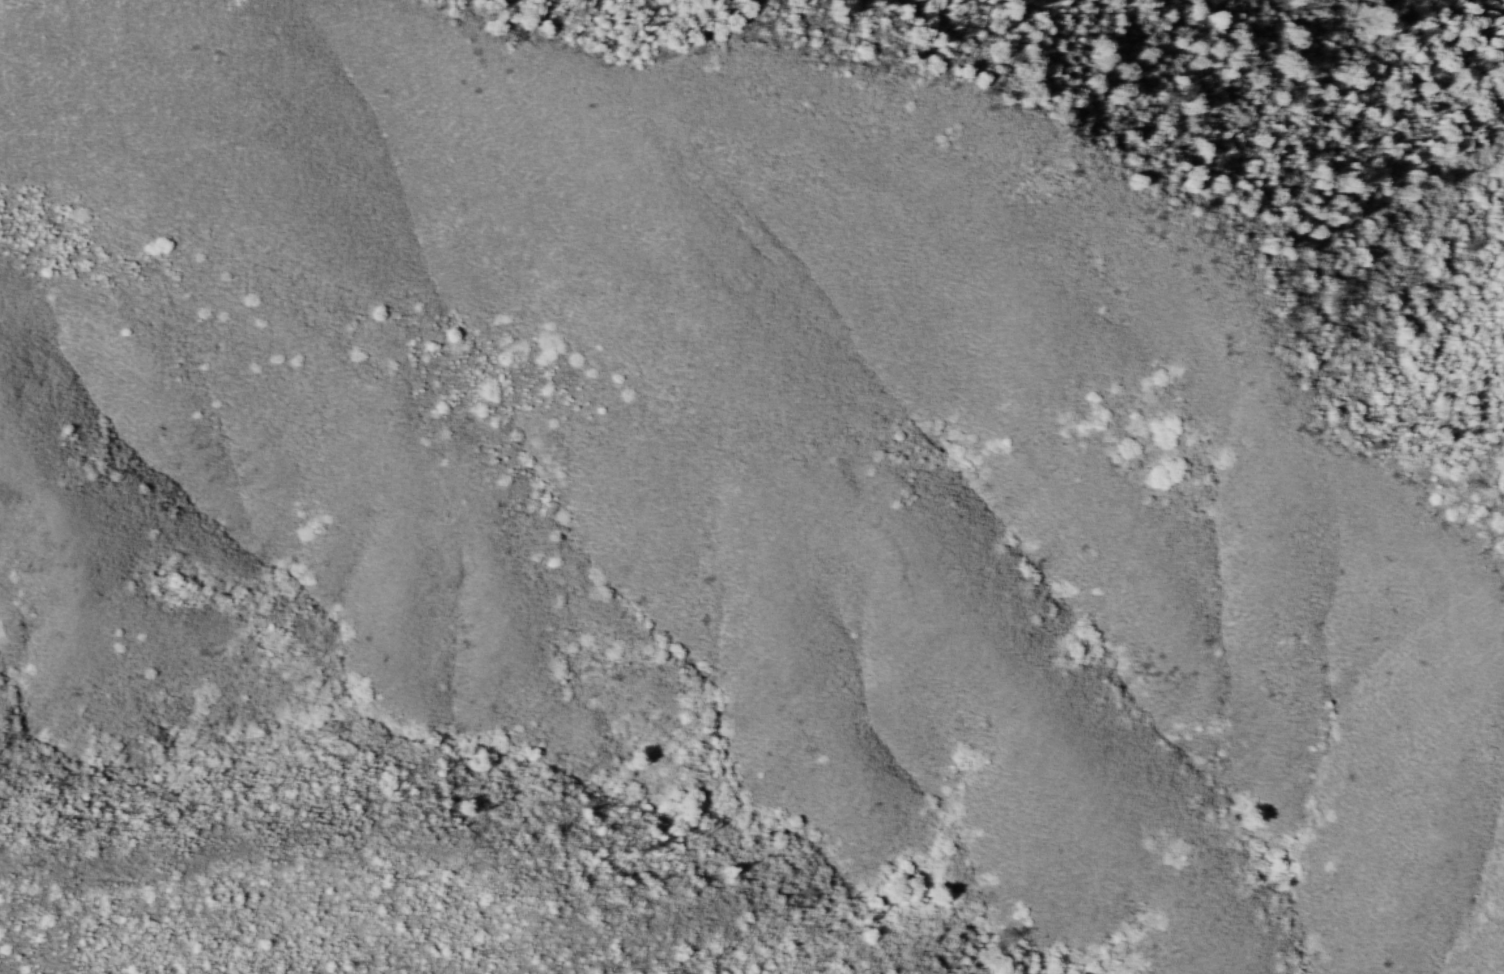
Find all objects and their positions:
road: (978, 108)

